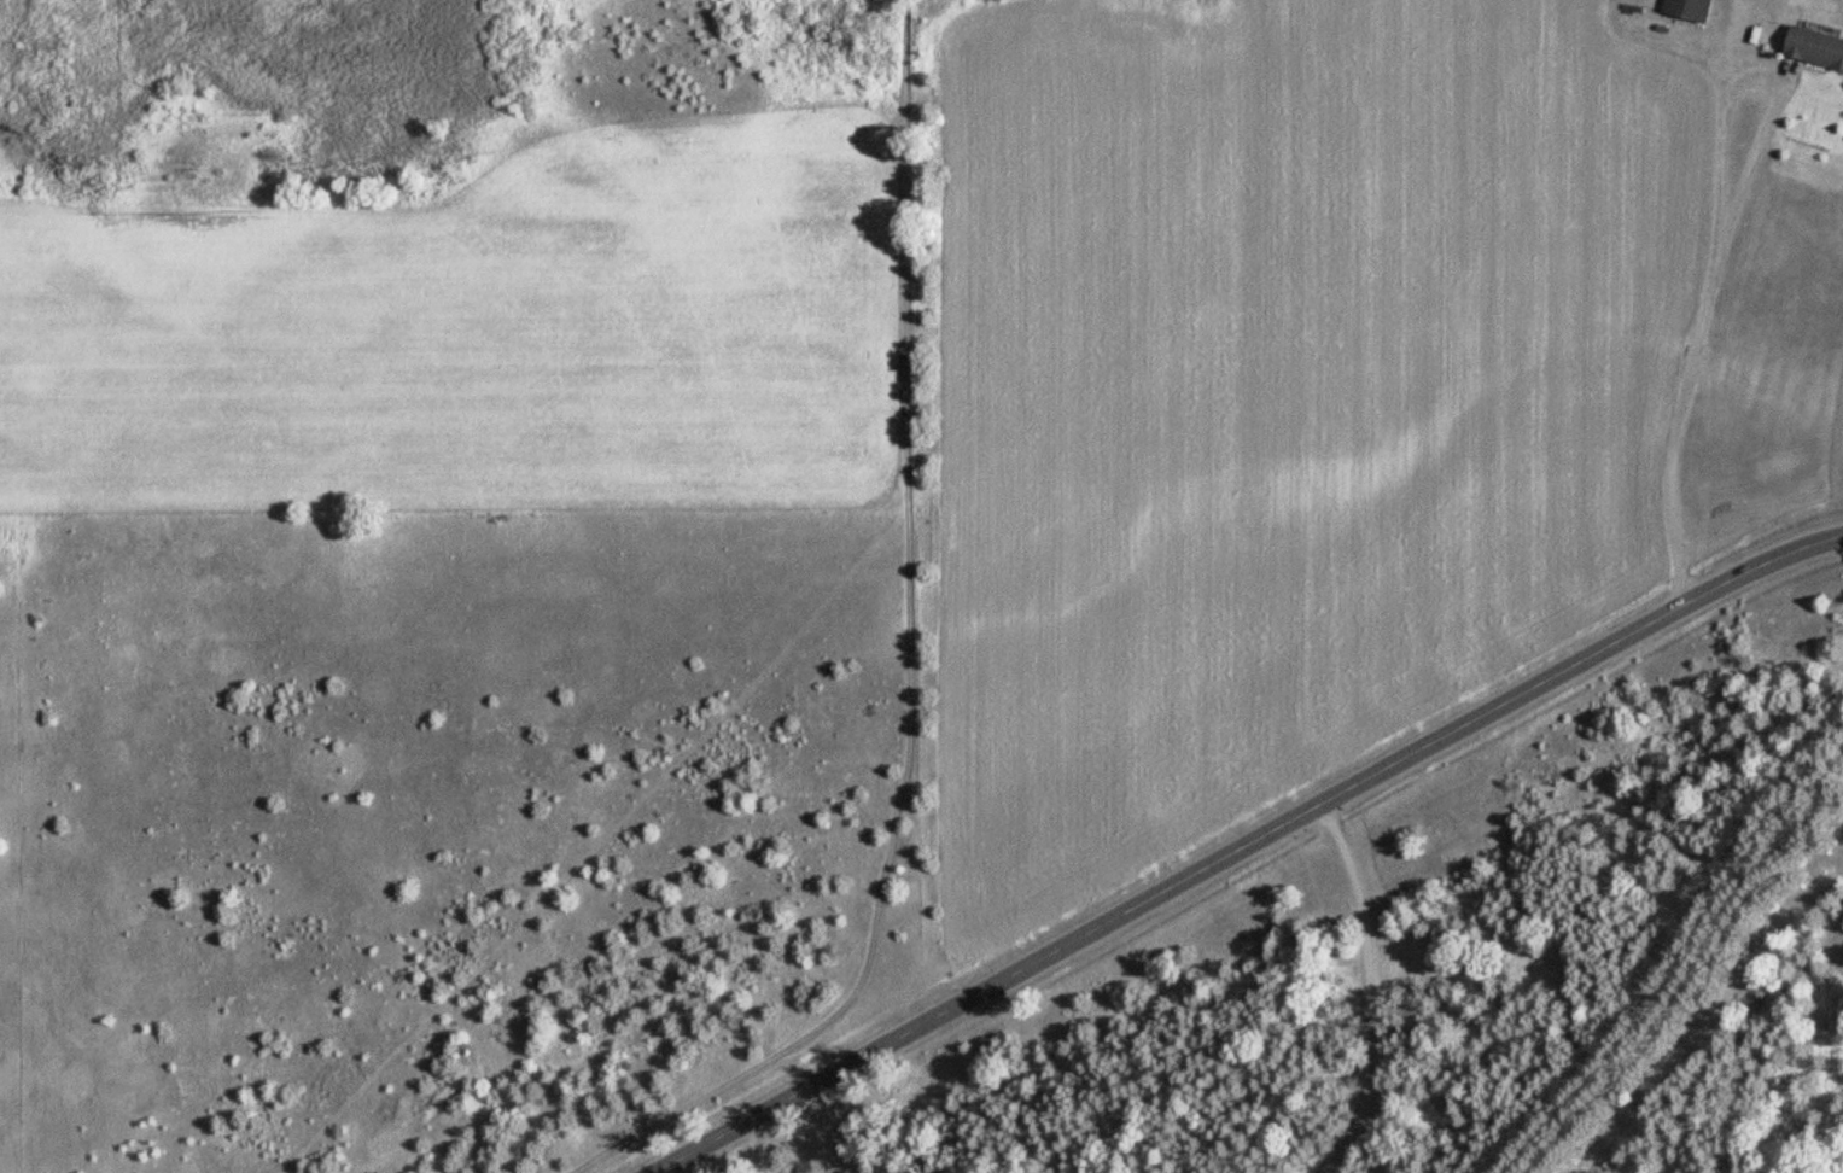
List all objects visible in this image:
building: (1691, 8)
building: (1816, 45)
road: (1243, 840)
road: (834, 1131)

